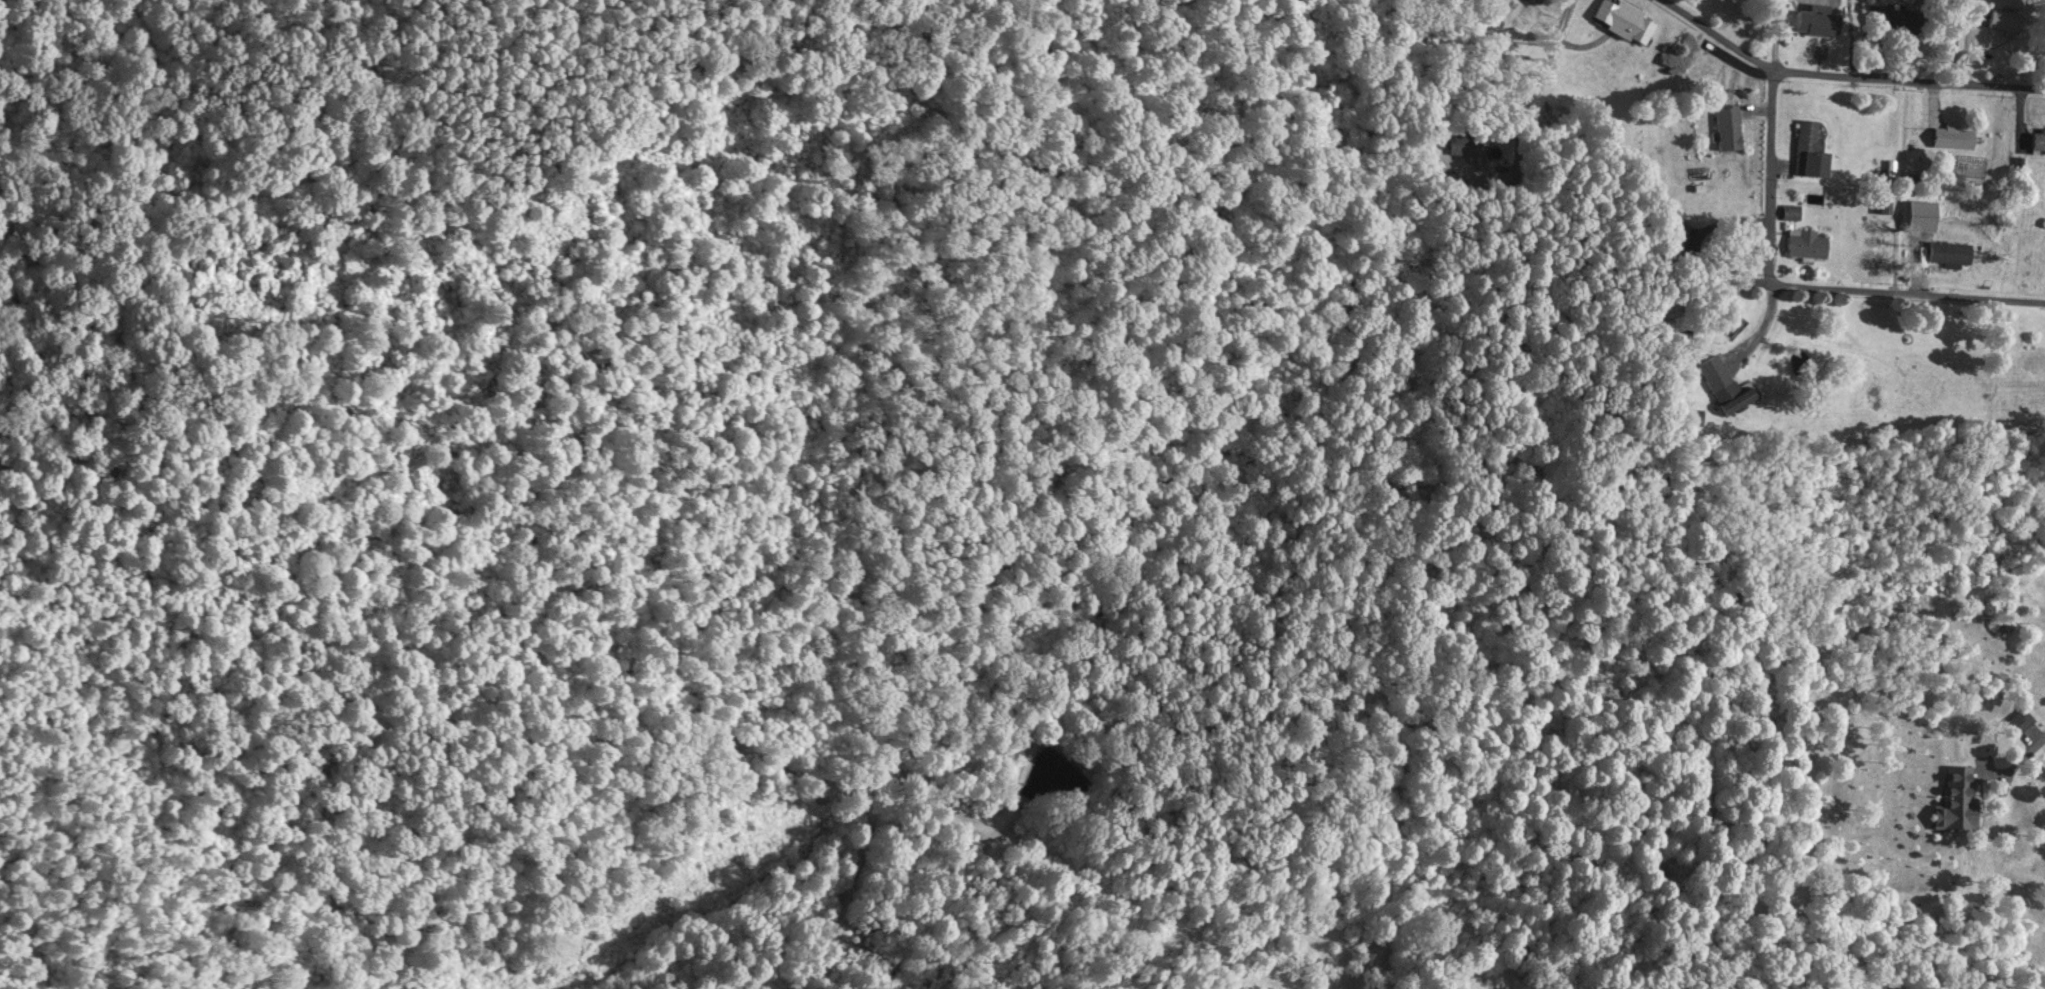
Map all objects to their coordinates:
building: (2004, 21)
building: (1624, 22)
building: (1817, 22)
road: (1998, 39)
road: (1877, 73)
building: (1954, 137)
building: (2036, 142)
building: (1807, 148)
building: (1806, 244)
building: (1950, 254)
road: (1809, 304)
building: (2033, 360)
building: (1733, 398)
building: (1960, 799)
road: (2004, 910)

